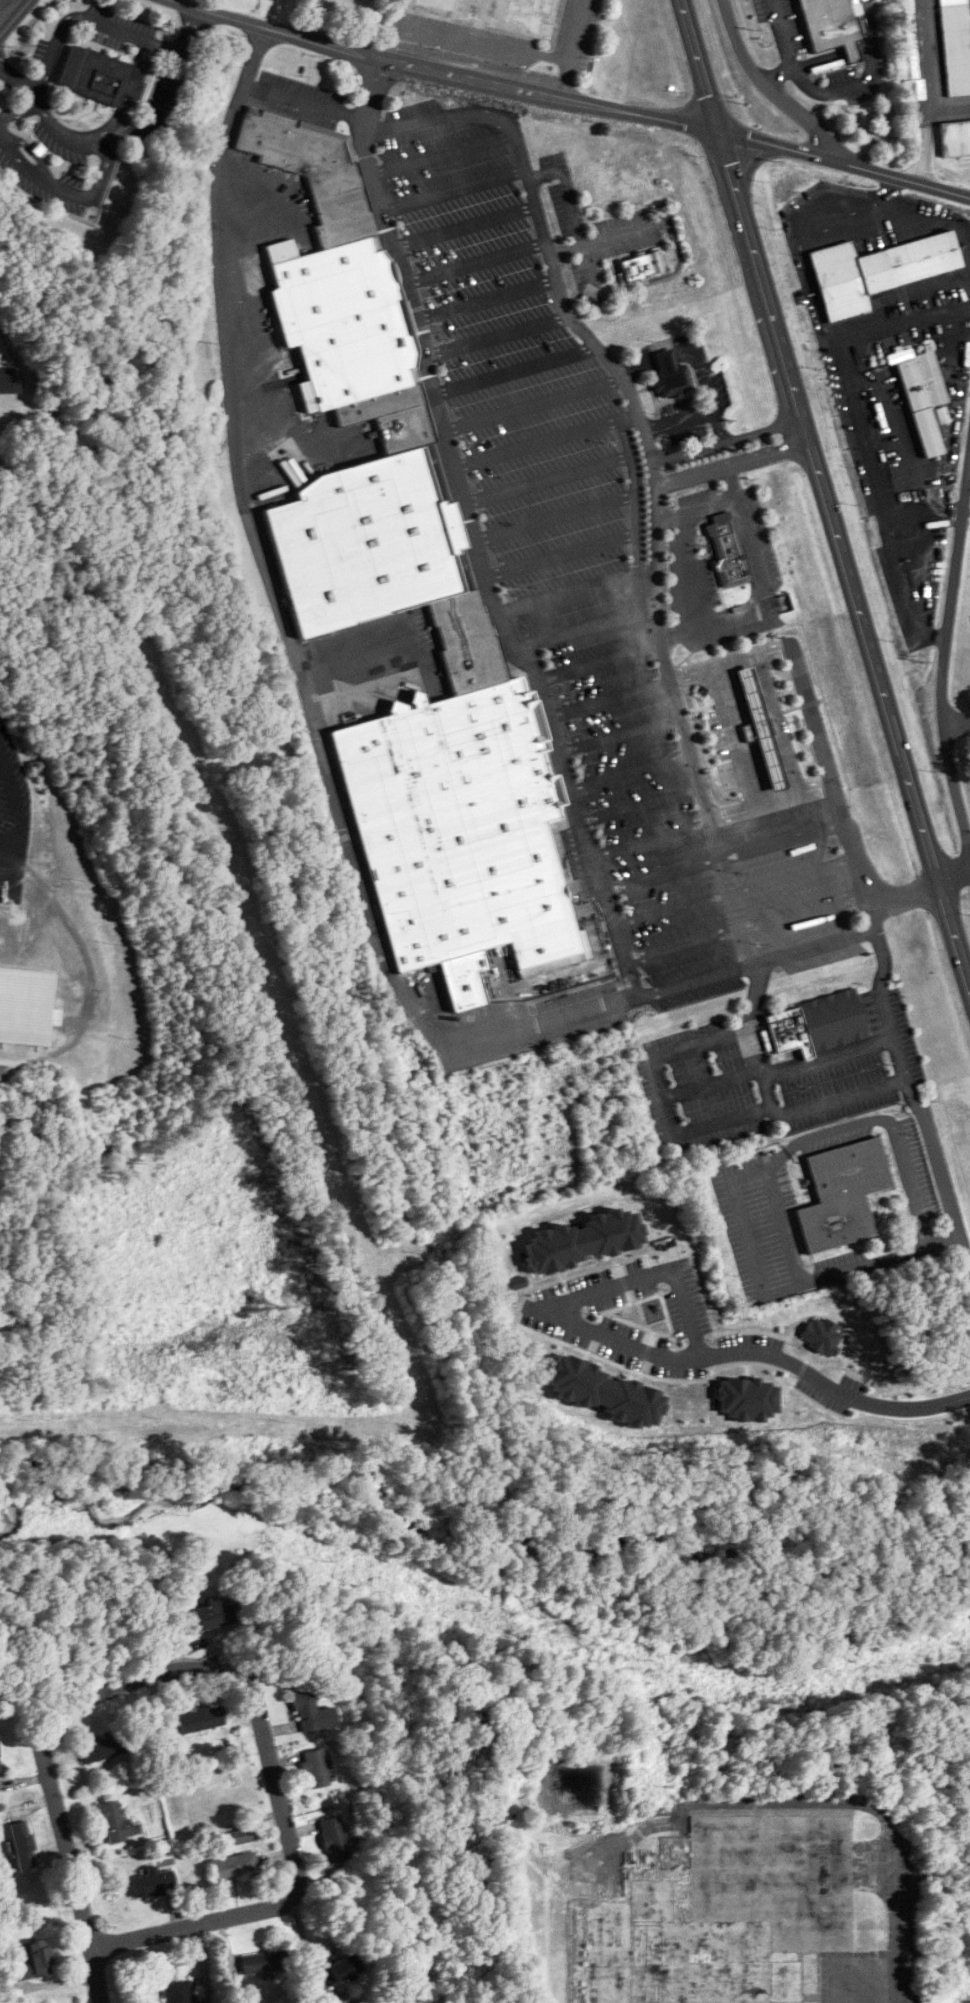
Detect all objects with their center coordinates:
building: (499, 11)
road: (15, 18)
road: (93, 22)
building: (828, 27)
road: (781, 34)
building: (956, 46)
road: (862, 47)
road: (850, 50)
building: (907, 52)
road: (819, 60)
road: (776, 73)
building: (98, 77)
road: (864, 78)
road: (925, 90)
road: (776, 98)
road: (578, 99)
road: (121, 133)
building: (955, 138)
building: (309, 176)
road: (453, 189)
road: (949, 221)
road: (466, 226)
building: (643, 265)
building: (877, 271)
road: (486, 299)
building: (338, 321)
road: (683, 342)
building: (670, 376)
building: (8, 381)
road: (631, 395)
building: (922, 396)
road: (532, 404)
road: (678, 417)
building: (384, 418)
road: (718, 423)
road: (861, 431)
road: (727, 438)
road: (545, 439)
road: (733, 461)
road: (825, 492)
road: (634, 497)
road: (707, 503)
road: (967, 509)
road: (923, 511)
road: (554, 517)
road: (471, 531)
building: (368, 545)
road: (561, 554)
building: (722, 555)
road: (687, 559)
road: (763, 588)
road: (575, 592)
road: (587, 629)
building: (464, 645)
road: (944, 655)
road: (775, 723)
road: (956, 723)
road: (812, 726)
building: (759, 731)
road: (735, 734)
road: (10, 790)
road: (769, 799)
road: (336, 803)
road: (16, 833)
building: (461, 833)
road: (954, 872)
road: (791, 874)
road: (884, 1004)
building: (26, 1006)
building: (817, 1021)
road: (751, 1034)
road: (680, 1048)
road: (672, 1118)
road: (887, 1122)
road: (939, 1158)
building: (840, 1196)
road: (791, 1247)
road: (684, 1323)
road: (830, 1383)
building: (212, 1615)
road: (244, 1671)
building: (312, 1712)
building: (201, 1719)
building: (104, 1748)
building: (315, 1768)
building: (0, 1769)
building: (116, 1823)
building: (23, 1845)
building: (333, 1845)
building: (233, 1865)
building: (153, 1881)
building: (721, 1917)
building: (34, 1961)
building: (264, 1963)
building: (343, 1968)
road: (96, 1976)
building: (179, 1992)

